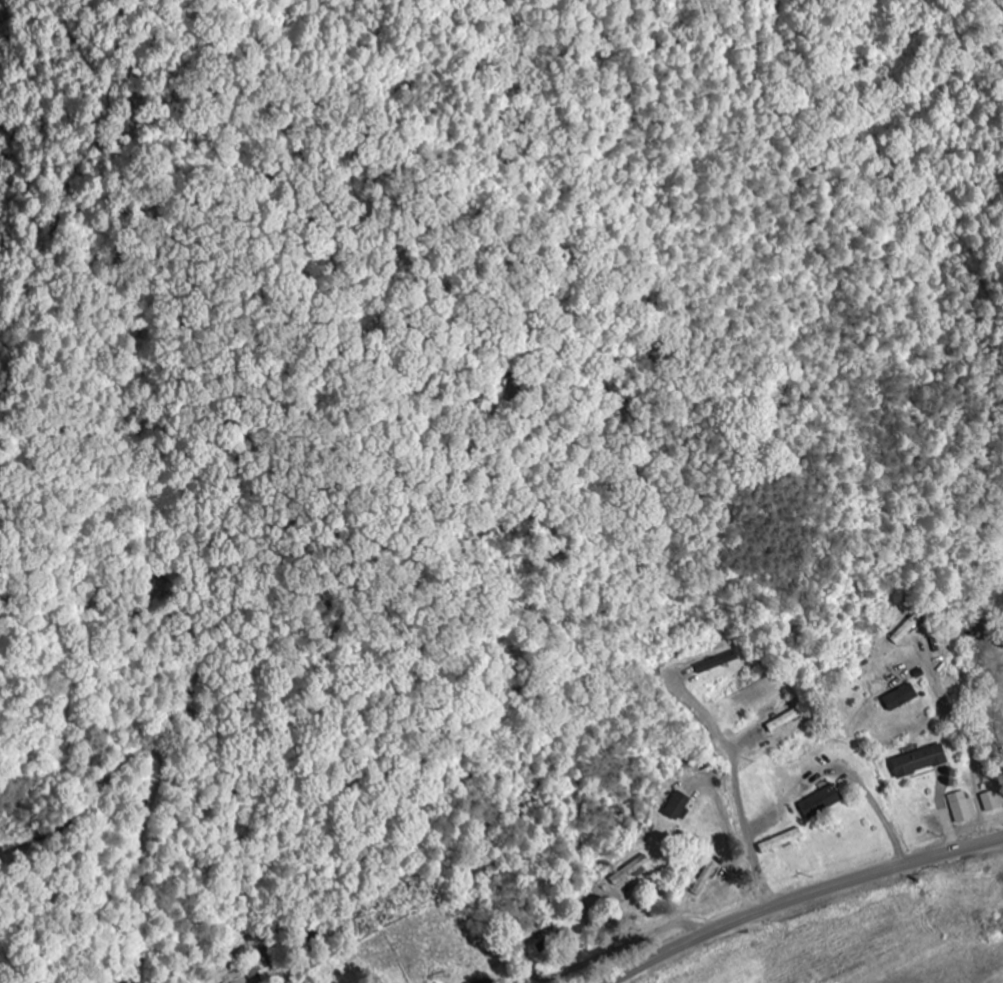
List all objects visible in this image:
building: (908, 630)
building: (717, 664)
building: (901, 699)
building: (920, 762)
building: (822, 803)
building: (992, 803)
building: (678, 807)
building: (963, 808)
building: (782, 842)
building: (632, 872)
road: (802, 897)
building: (267, 968)
building: (482, 981)

